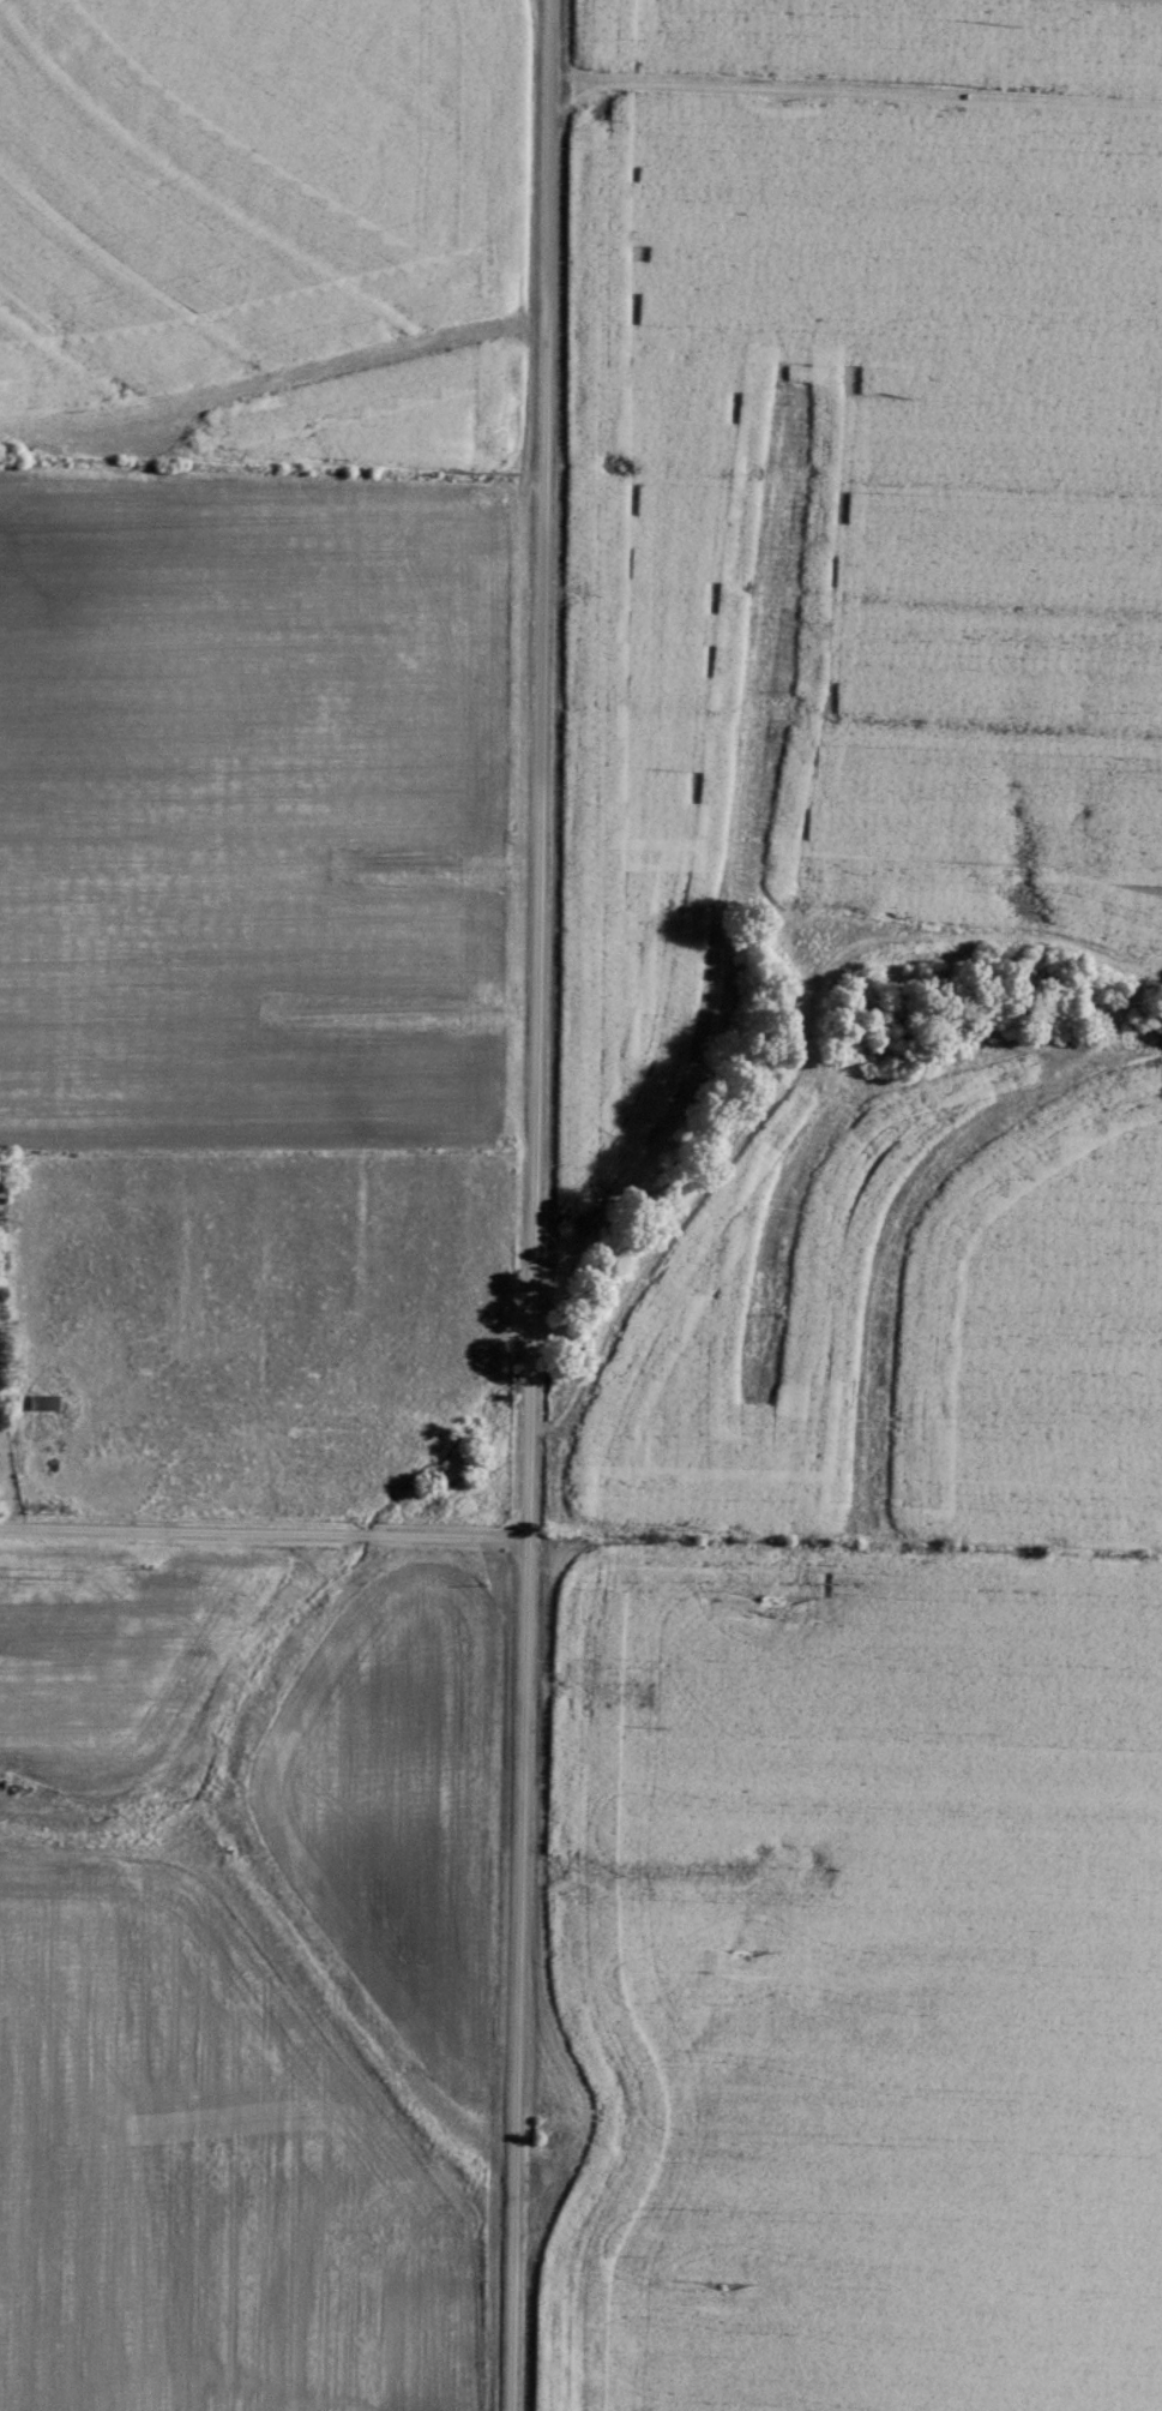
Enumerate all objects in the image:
road: (534, 1205)
building: (43, 1402)
road: (264, 1533)

